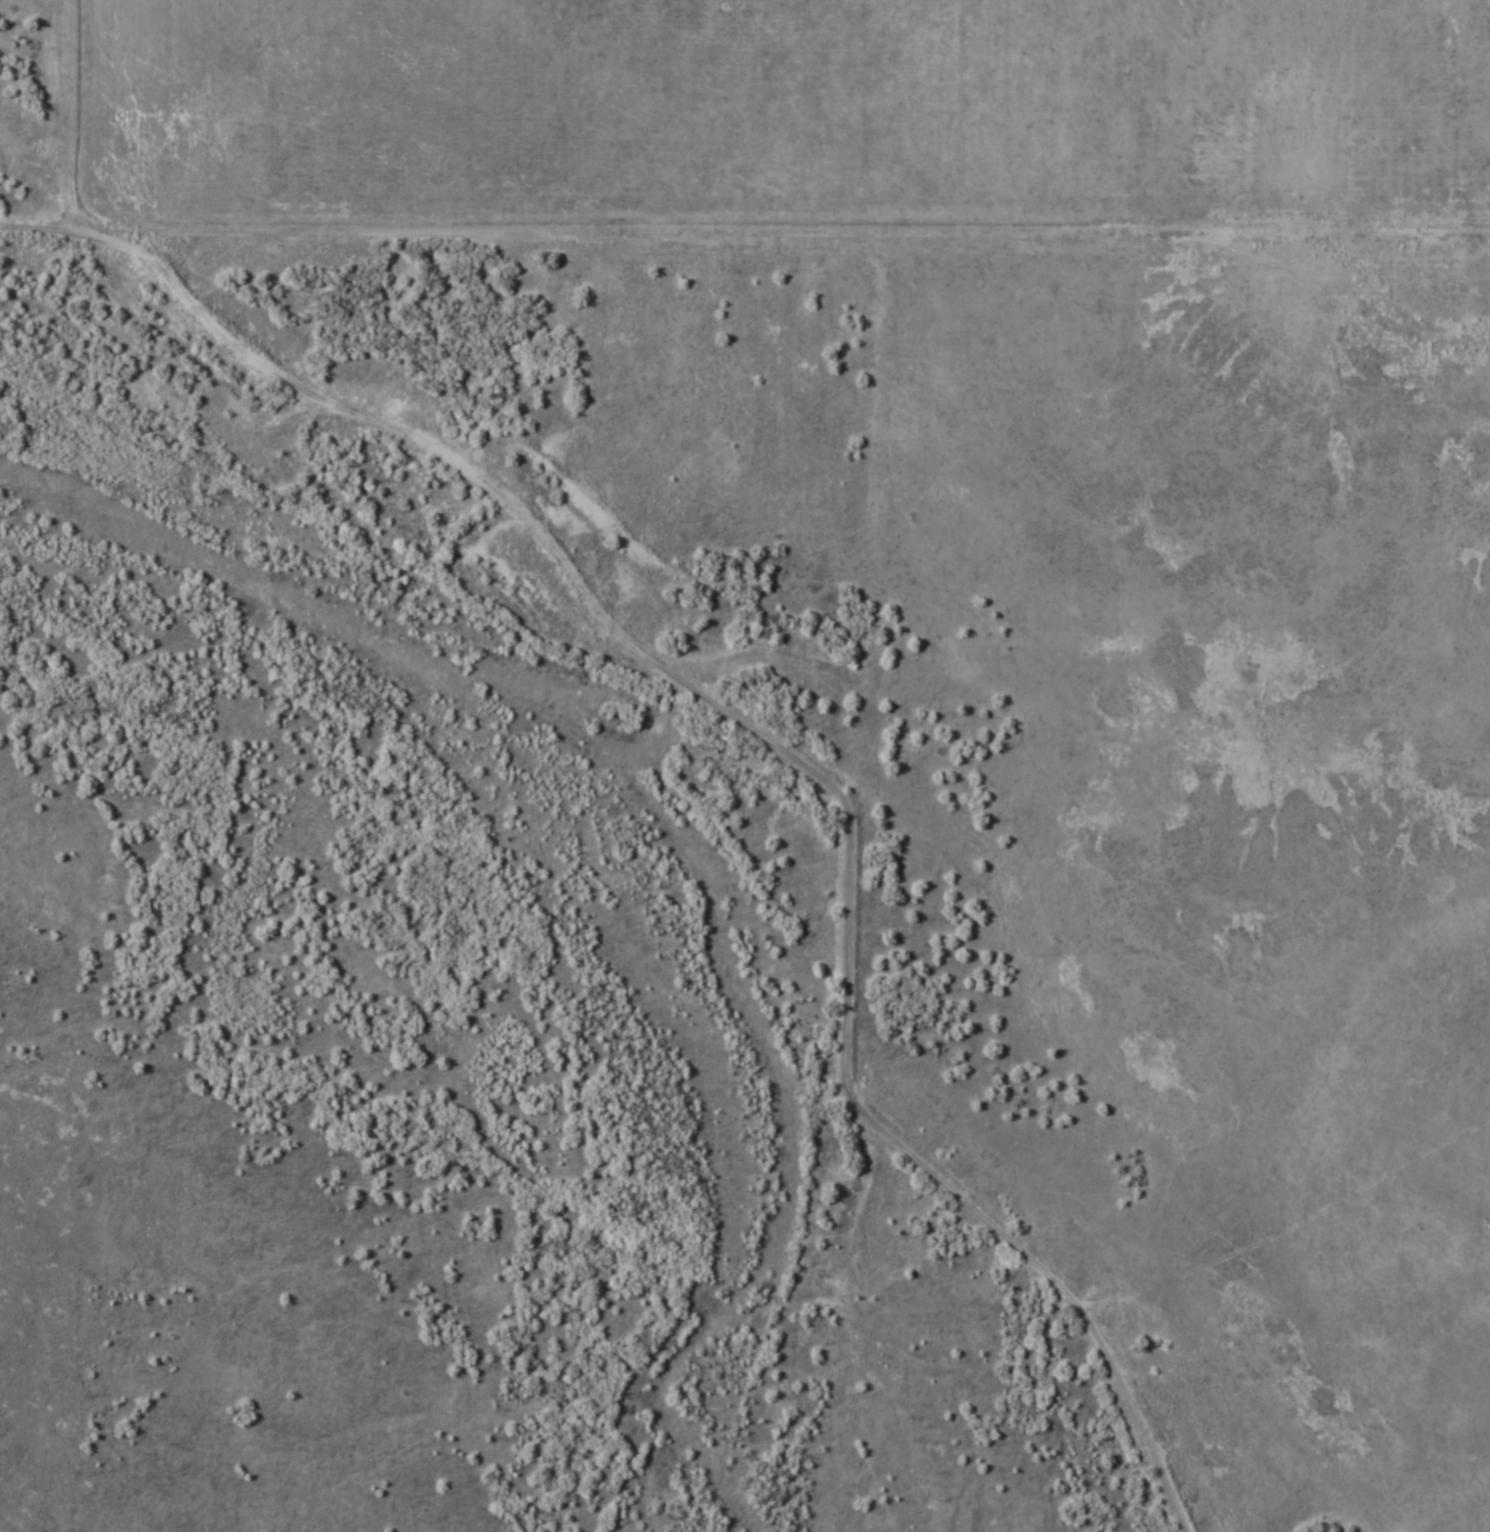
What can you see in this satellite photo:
road: (871, 671)

